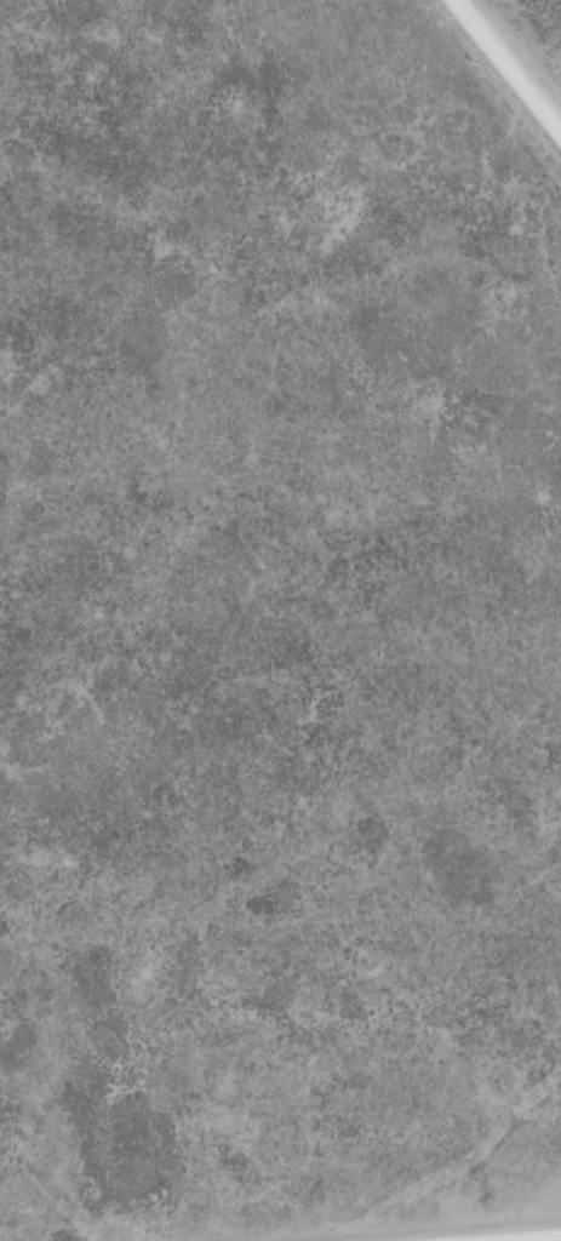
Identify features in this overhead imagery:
road: (504, 69)

